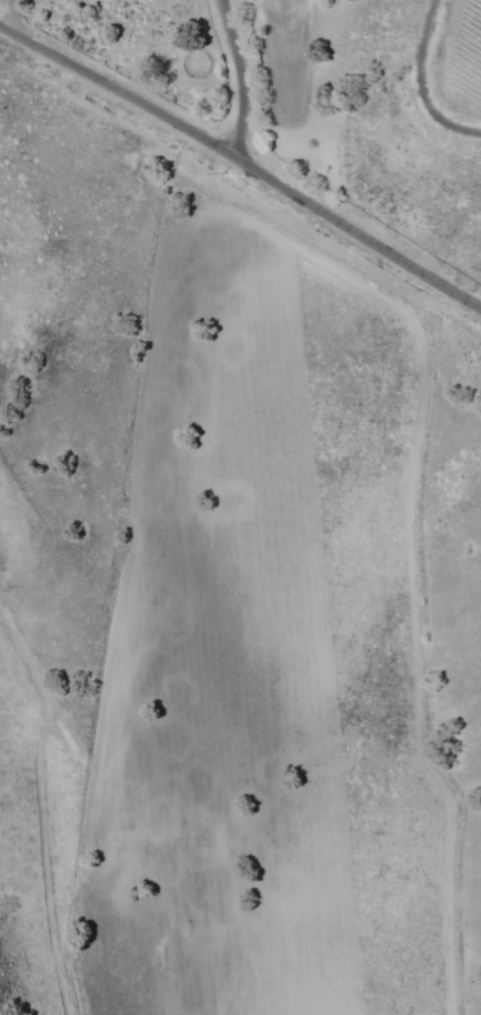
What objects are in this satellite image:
road: (241, 84)
road: (241, 162)
crop: (283, 642)

